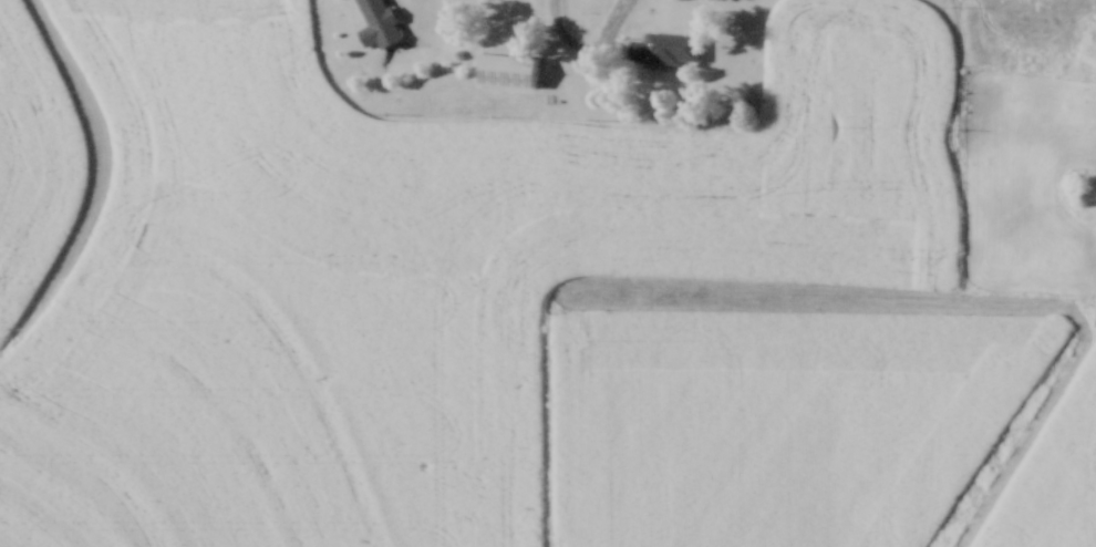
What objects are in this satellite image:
building: (379, 22)
road: (588, 44)
building: (664, 47)
building: (506, 69)

